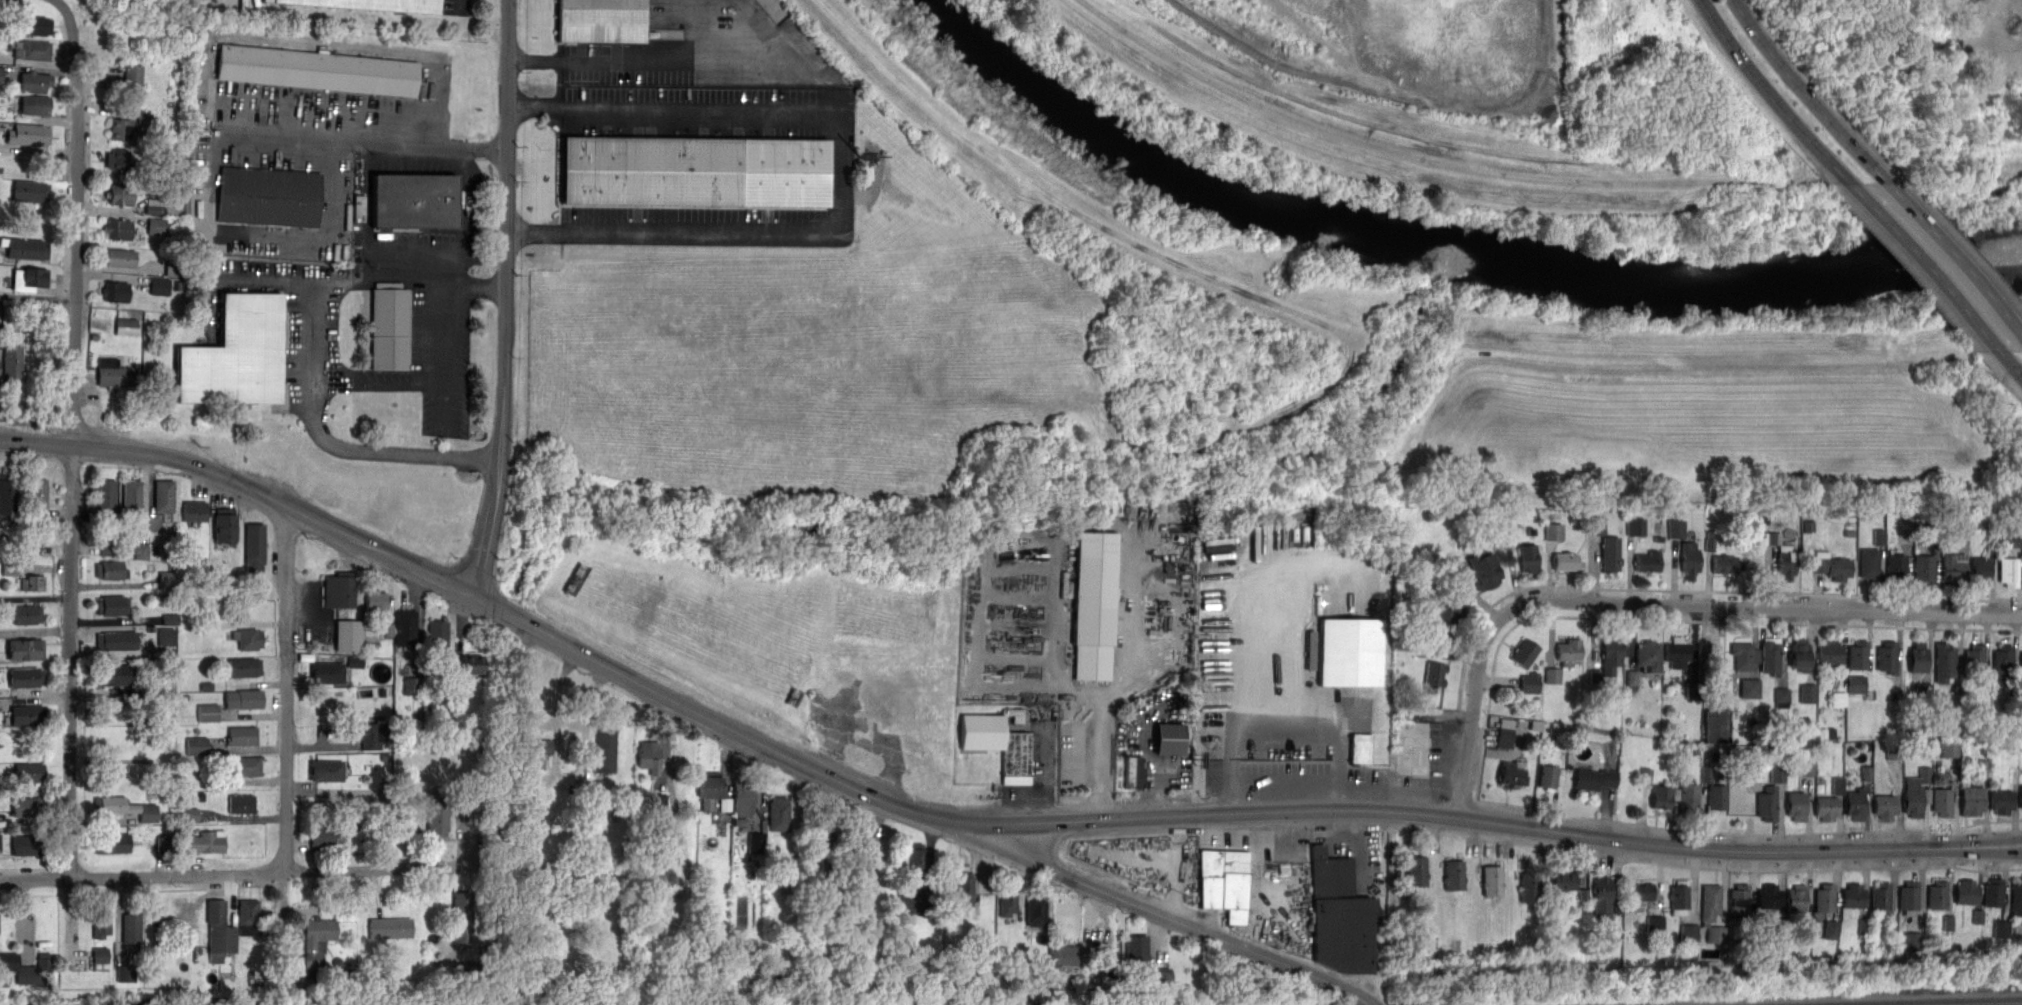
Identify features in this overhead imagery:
building: (373, 4)
parking lot: (453, 7)
building: (600, 20)
building: (34, 25)
parking lot: (685, 43)
building: (33, 50)
road: (633, 60)
building: (318, 70)
building: (1, 74)
building: (131, 77)
building: (33, 81)
park: (1935, 82)
road: (1399, 92)
road: (1806, 94)
road: (1770, 95)
building: (34, 104)
building: (128, 125)
building: (27, 134)
parking lot: (297, 137)
road: (364, 139)
building: (118, 159)
parking lot: (708, 164)
building: (693, 170)
road: (840, 172)
building: (29, 191)
building: (120, 194)
building: (268, 197)
building: (413, 200)
parking lot: (415, 204)
road: (364, 210)
road: (463, 216)
road: (76, 218)
building: (156, 226)
road: (507, 228)
building: (117, 229)
river: (1441, 246)
building: (26, 248)
building: (118, 257)
road: (1954, 258)
road: (1925, 266)
building: (28, 278)
road: (409, 282)
building: (160, 286)
park: (2020, 289)
building: (114, 290)
road: (38, 296)
building: (127, 326)
parking lot: (362, 328)
building: (388, 328)
road: (444, 350)
building: (236, 354)
road: (2011, 362)
building: (11, 363)
building: (114, 374)
road: (378, 383)
road: (313, 402)
road: (209, 466)
building: (8, 494)
building: (105, 495)
building: (163, 495)
building: (36, 496)
building: (131, 496)
building: (193, 510)
building: (224, 523)
building: (1636, 524)
building: (1676, 527)
road: (492, 529)
building: (1555, 531)
building: (1879, 534)
building: (1709, 538)
building: (253, 547)
building: (107, 548)
building: (141, 551)
building: (1609, 552)
building: (1528, 557)
building: (1688, 559)
building: (1565, 560)
building: (1647, 560)
building: (1868, 562)
building: (1725, 563)
building: (1785, 563)
building: (1832, 566)
building: (1895, 567)
building: (1923, 567)
building: (1953, 568)
building: (110, 569)
building: (1979, 569)
building: (1484, 570)
building: (2008, 571)
building: (167, 579)
road: (438, 581)
building: (31, 582)
road: (1241, 585)
building: (338, 589)
building: (1094, 599)
building: (375, 600)
traffic signals: (476, 600)
parking lot: (1074, 601)
road: (1177, 602)
road: (1654, 603)
building: (112, 605)
building: (26, 614)
building: (1445, 618)
building: (171, 619)
building: (404, 627)
building: (437, 634)
building: (349, 635)
building: (166, 636)
road: (1059, 636)
building: (247, 637)
building: (114, 640)
road: (1315, 647)
building: (25, 649)
building: (1568, 650)
building: (1351, 651)
building: (1524, 652)
building: (1677, 652)
building: (1830, 652)
building: (1609, 654)
building: (1799, 654)
building: (1858, 654)
building: (1648, 655)
building: (1744, 655)
building: (1770, 655)
building: (1886, 656)
building: (1917, 656)
building: (1974, 658)
building: (1944, 661)
building: (355, 662)
building: (471, 662)
building: (2002, 662)
building: (2021, 663)
parking lot: (1292, 664)
building: (243, 667)
building: (326, 672)
building: (1435, 673)
building: (112, 674)
building: (1596, 674)
building: (1553, 675)
building: (24, 677)
building: (1632, 678)
road: (1122, 679)
building: (1857, 682)
building: (1531, 683)
building: (410, 685)
building: (1750, 686)
building: (1808, 691)
building: (1782, 692)
building: (1839, 697)
building: (242, 698)
road: (71, 703)
building: (208, 712)
building: (26, 714)
road: (1247, 722)
building: (1715, 722)
building: (368, 733)
building: (240, 735)
road: (286, 738)
building: (1169, 738)
building: (1505, 738)
parking lot: (1156, 740)
building: (999, 745)
building: (197, 746)
building: (543, 746)
building: (1949, 746)
building: (1359, 747)
building: (1894, 749)
building: (604, 750)
road: (1144, 752)
building: (649, 756)
parking lot: (1443, 757)
building: (1807, 765)
building: (243, 766)
road: (1168, 766)
building: (326, 771)
road: (1342, 771)
building: (1866, 771)
building: (1134, 772)
building: (1773, 772)
building: (27, 773)
building: (1511, 773)
road: (1047, 775)
building: (1546, 775)
building: (1593, 778)
building: (1838, 783)
building: (708, 788)
building: (1915, 791)
building: (1660, 796)
building: (2021, 796)
building: (738, 797)
building: (1686, 797)
building: (1715, 797)
building: (1941, 800)
building: (1971, 800)
building: (659, 801)
building: (2001, 801)
building: (1767, 802)
building: (1854, 803)
building: (242, 804)
building: (1795, 804)
building: (1884, 805)
building: (27, 806)
building: (1826, 807)
building: (125, 808)
building: (442, 811)
building: (778, 813)
road: (1224, 813)
building: (190, 814)
building: (816, 823)
building: (323, 834)
building: (202, 841)
building: (863, 841)
road: (1281, 841)
building: (756, 842)
building: (0, 843)
building: (111, 843)
building: (28, 844)
road: (1040, 844)
parking lot: (1353, 852)
building: (912, 860)
road: (1179, 867)
building: (1416, 871)
road: (246, 875)
building: (1454, 875)
parking lot: (1225, 876)
building: (1492, 880)
building: (1563, 880)
building: (1225, 882)
building: (1529, 886)
building: (964, 888)
building: (1642, 891)
building: (1966, 891)
building: (1993, 891)
building: (1937, 894)
building: (1602, 895)
building: (1853, 895)
building: (1880, 895)
building: (1908, 895)
building: (1678, 896)
building: (1769, 896)
building: (1824, 897)
building: (2016, 897)
building: (1796, 898)
building: (1007, 899)
building: (1738, 900)
building: (1710, 901)
building: (1035, 908)
road: (1163, 914)
building: (1978, 914)
building: (1339, 915)
building: (248, 917)
building: (461, 917)
building: (100, 921)
building: (1948, 921)
building: (1655, 922)
building: (131, 927)
building: (2000, 927)
building: (389, 928)
building: (1832, 928)
building: (219, 930)
building: (1690, 930)
building: (315, 943)
building: (1137, 950)
building: (100, 955)
building: (1063, 955)
building: (35, 972)
building: (122, 974)
building: (1160, 974)
railway: (1884, 1000)

